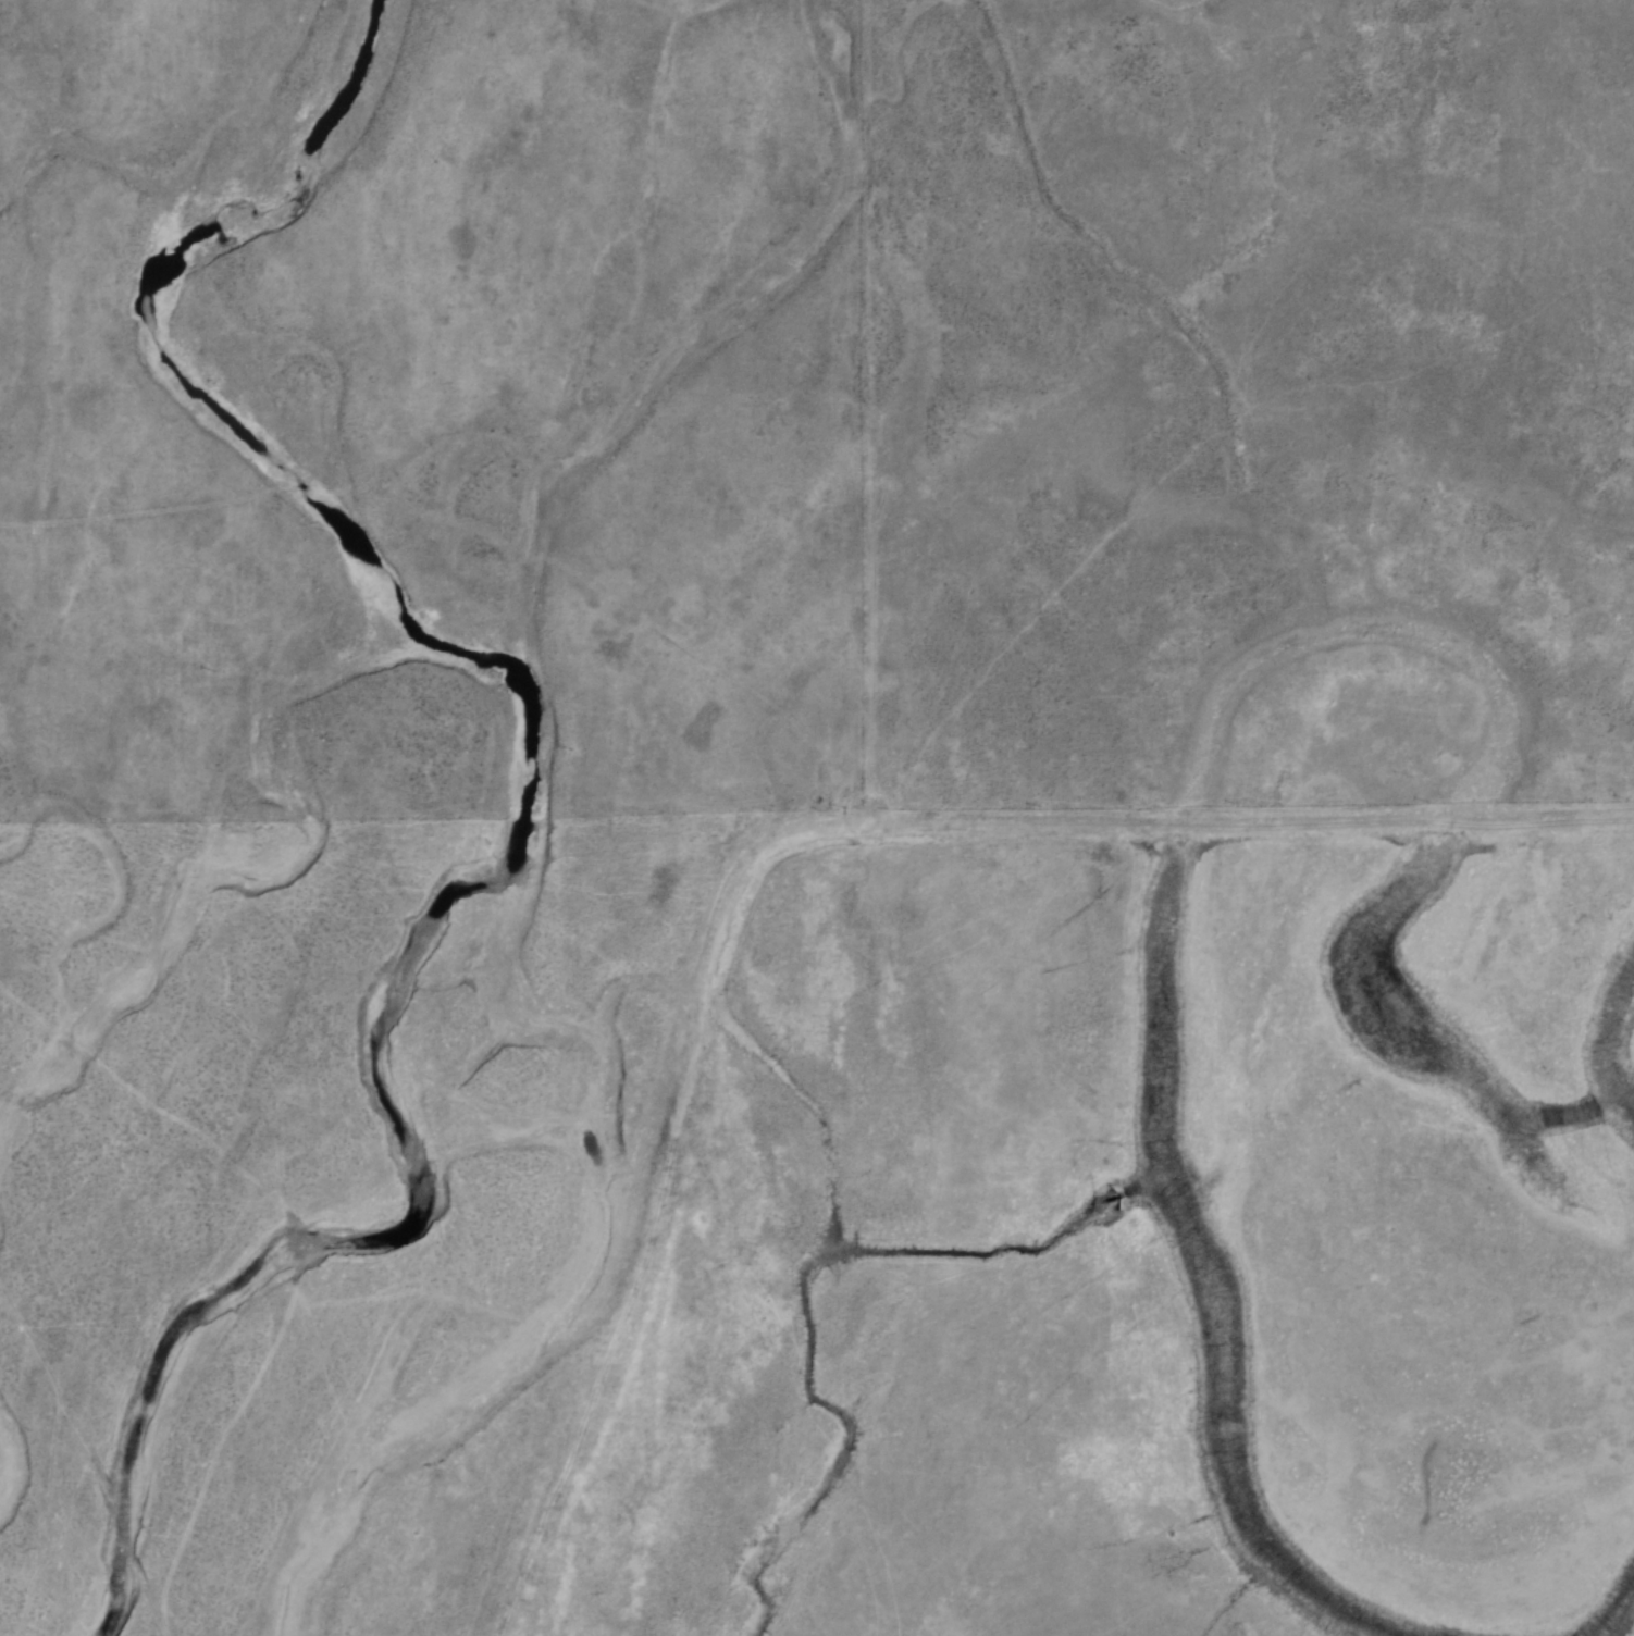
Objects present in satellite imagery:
road: (201, 496)
road: (114, 517)
road: (979, 735)
road: (1328, 825)
road: (1581, 825)
road: (1483, 826)
road: (1184, 828)
road: (692, 1056)

